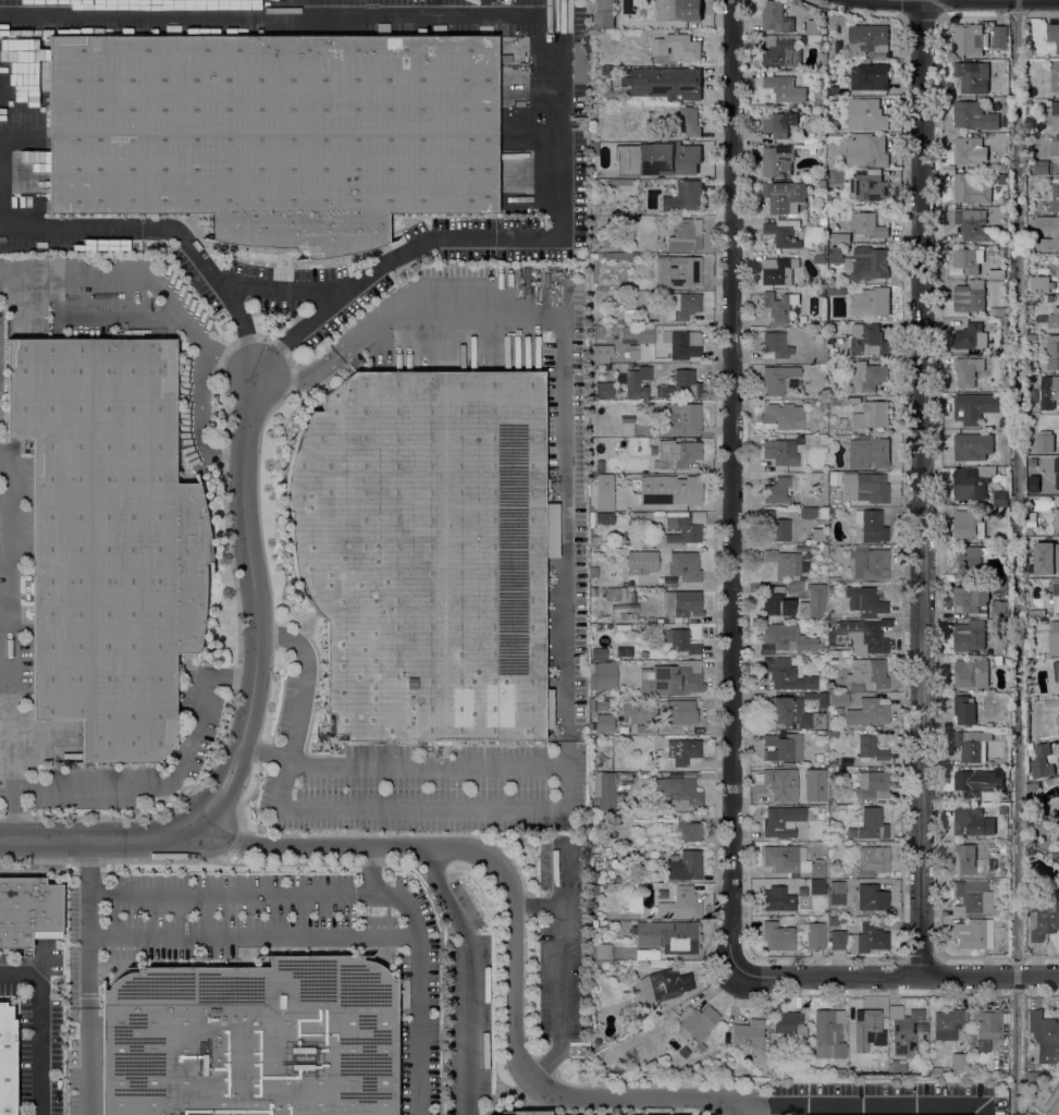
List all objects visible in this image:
road: (962, 0)
building: (678, 10)
building: (604, 13)
building: (777, 17)
building: (839, 21)
building: (813, 27)
building: (173, 29)
building: (421, 30)
building: (136, 32)
building: (1054, 35)
building: (999, 37)
building: (867, 39)
building: (811, 40)
building: (969, 40)
building: (677, 47)
building: (780, 52)
building: (822, 60)
building: (578, 61)
building: (968, 76)
building: (870, 77)
building: (1055, 77)
building: (666, 83)
building: (785, 89)
building: (835, 90)
building: (818, 102)
building: (1027, 102)
building: (873, 115)
building: (973, 117)
building: (1055, 117)
building: (690, 122)
building: (781, 125)
building: (274, 132)
building: (812, 140)
building: (593, 148)
building: (1055, 148)
building: (855, 149)
building: (969, 151)
building: (657, 159)
building: (775, 161)
building: (1040, 168)
building: (32, 170)
building: (823, 184)
building: (862, 185)
building: (970, 191)
road: (561, 196)
building: (829, 196)
building: (684, 197)
building: (784, 197)
building: (1055, 198)
building: (1005, 203)
building: (823, 222)
building: (972, 225)
building: (867, 226)
building: (1046, 231)
building: (783, 233)
building: (686, 234)
building: (839, 237)
building: (593, 240)
building: (1030, 249)
building: (617, 255)
building: (592, 256)
building: (820, 259)
building: (969, 259)
building: (1058, 259)
building: (863, 262)
building: (1058, 268)
building: (678, 270)
building: (778, 271)
road: (147, 278)
building: (834, 281)
building: (1039, 284)
road: (287, 291)
building: (836, 291)
building: (970, 297)
building: (1047, 298)
building: (870, 302)
building: (626, 303)
building: (682, 306)
building: (779, 306)
building: (1000, 311)
building: (629, 317)
building: (1055, 319)
building: (637, 334)
building: (970, 338)
building: (1032, 338)
building: (871, 339)
building: (682, 344)
building: (775, 345)
building: (632, 352)
building: (600, 353)
building: (1052, 353)
road: (563, 367)
building: (823, 367)
building: (654, 368)
building: (968, 371)
building: (869, 377)
building: (777, 378)
building: (1031, 378)
building: (662, 384)
building: (603, 390)
building: (1048, 392)
building: (846, 401)
building: (974, 407)
building: (784, 414)
building: (871, 416)
building: (684, 418)
road: (199, 419)
building: (840, 422)
building: (1002, 422)
building: (626, 429)
building: (800, 439)
building: (1044, 443)
building: (621, 444)
building: (971, 446)
building: (780, 452)
building: (867, 453)
building: (676, 454)
building: (1006, 470)
building: (1056, 473)
building: (834, 474)
building: (973, 482)
road: (926, 486)
road: (736, 488)
building: (865, 488)
building: (670, 489)
building: (777, 490)
building: (604, 492)
building: (1000, 499)
building: (830, 511)
building: (806, 513)
building: (639, 516)
building: (604, 517)
building: (1056, 520)
building: (1030, 523)
building: (968, 525)
building: (873, 526)
building: (774, 527)
building: (690, 531)
building: (817, 534)
building: (108, 538)
building: (824, 547)
building: (424, 552)
building: (970, 559)
building: (1045, 559)
road: (250, 561)
building: (640, 561)
building: (784, 562)
building: (870, 563)
building: (685, 565)
building: (593, 572)
building: (601, 580)
building: (996, 589)
building: (830, 590)
building: (593, 591)
building: (816, 592)
building: (615, 593)
building: (1055, 595)
building: (971, 598)
building: (864, 599)
building: (776, 601)
building: (680, 603)
building: (999, 612)
building: (1036, 613)
building: (625, 615)
building: (783, 636)
building: (970, 636)
building: (873, 637)
building: (1054, 638)
building: (680, 641)
road: (10, 642)
building: (813, 649)
building: (765, 652)
building: (599, 653)
building: (644, 653)
building: (803, 658)
building: (833, 660)
building: (1056, 671)
building: (866, 673)
building: (971, 674)
building: (786, 675)
building: (602, 676)
road: (304, 678)
building: (672, 678)
building: (1052, 689)
building: (823, 699)
building: (838, 699)
building: (1051, 703)
building: (591, 704)
building: (601, 704)
building: (833, 710)
building: (964, 710)
building: (680, 711)
building: (867, 711)
building: (791, 713)
building: (641, 715)
building: (603, 723)
building: (1057, 723)
building: (988, 725)
building: (972, 745)
building: (783, 747)
building: (870, 749)
road: (266, 752)
building: (684, 752)
road: (448, 761)
building: (833, 761)
building: (1039, 763)
building: (1058, 763)
building: (787, 764)
road: (167, 777)
building: (975, 782)
building: (602, 784)
building: (872, 785)
building: (777, 786)
building: (1033, 788)
road: (222, 791)
building: (679, 791)
road: (397, 805)
building: (1002, 809)
building: (781, 821)
building: (969, 822)
building: (872, 823)
building: (605, 825)
building: (688, 829)
road: (95, 838)
building: (963, 859)
building: (790, 861)
building: (870, 862)
building: (685, 866)
building: (593, 877)
building: (616, 878)
building: (604, 879)
building: (816, 886)
building: (593, 889)
road: (230, 892)
building: (836, 892)
building: (776, 896)
building: (871, 898)
building: (974, 898)
building: (593, 903)
building: (680, 904)
building: (834, 910)
building: (28, 911)
building: (833, 920)
building: (1044, 920)
building: (593, 923)
building: (974, 933)
building: (667, 935)
building: (815, 935)
building: (778, 936)
road: (254, 939)
building: (837, 939)
building: (867, 939)
building: (602, 952)
building: (658, 964)
road: (562, 973)
road: (994, 973)
road: (468, 976)
road: (832, 976)
building: (663, 984)
road: (419, 1022)
building: (697, 1022)
building: (947, 1024)
road: (86, 1026)
building: (790, 1026)
building: (986, 1027)
building: (867, 1029)
building: (906, 1029)
road: (37, 1030)
building: (828, 1032)
building: (749, 1034)
building: (971, 1036)
building: (1044, 1037)
building: (251, 1039)
building: (971, 1045)
road: (514, 1051)
building: (684, 1052)
building: (7, 1061)
building: (959, 1064)
building: (897, 1067)
building: (729, 1071)
building: (935, 1071)
road: (743, 1106)
building: (1054, 1107)
building: (530, 1113)

